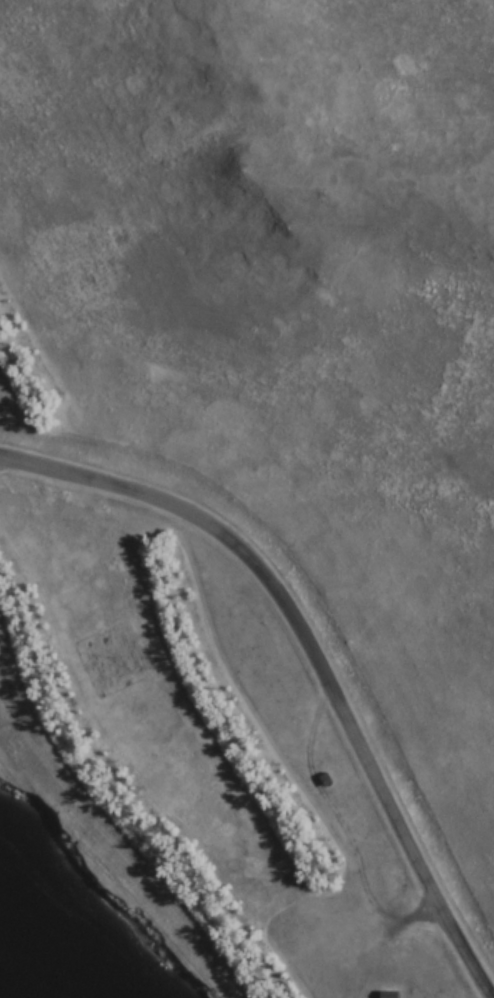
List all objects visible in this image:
road: (490, 2)
road: (313, 652)
building: (327, 779)
road: (108, 873)
building: (390, 994)

